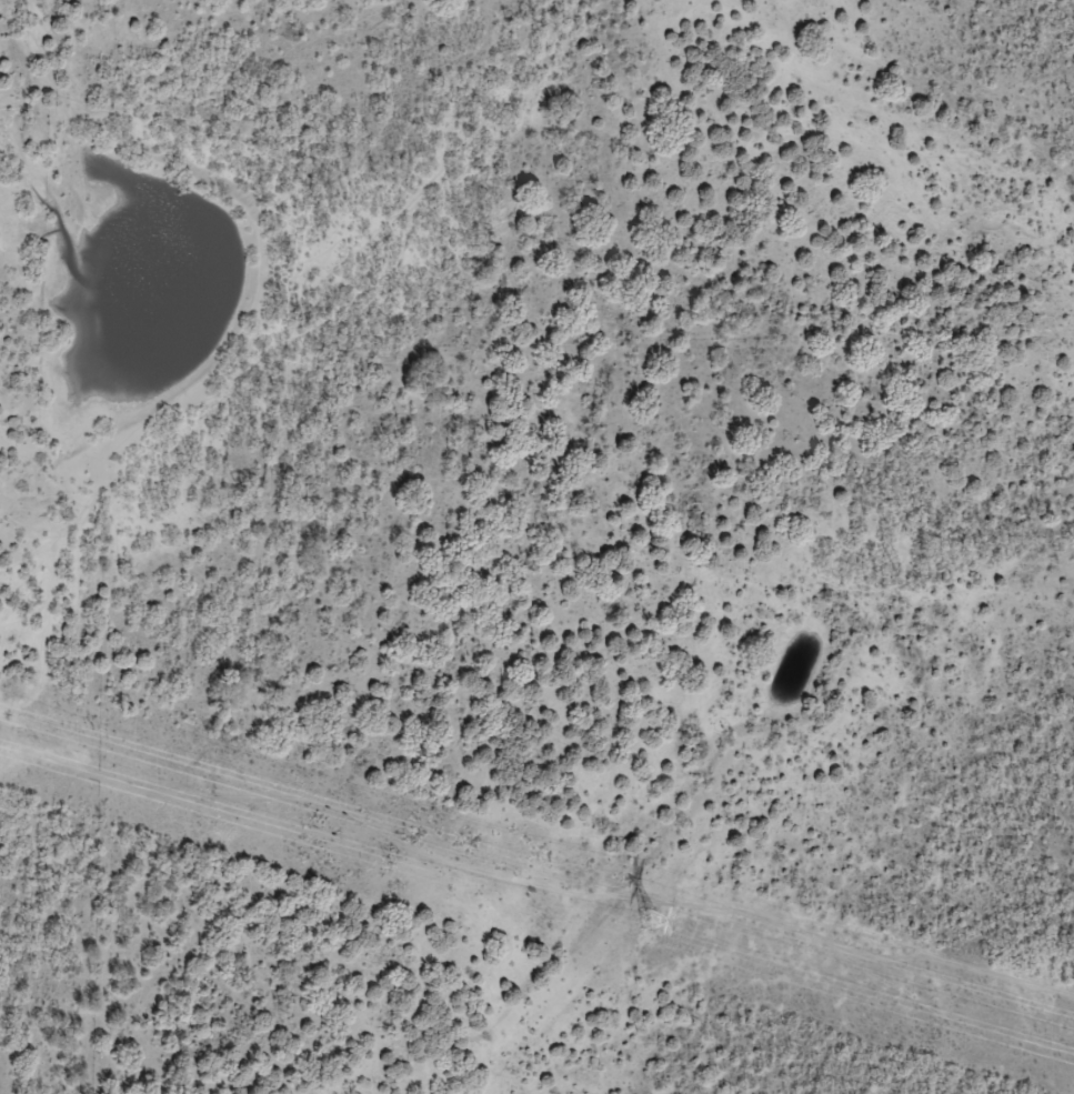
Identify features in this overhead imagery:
power tower: (646, 920)

